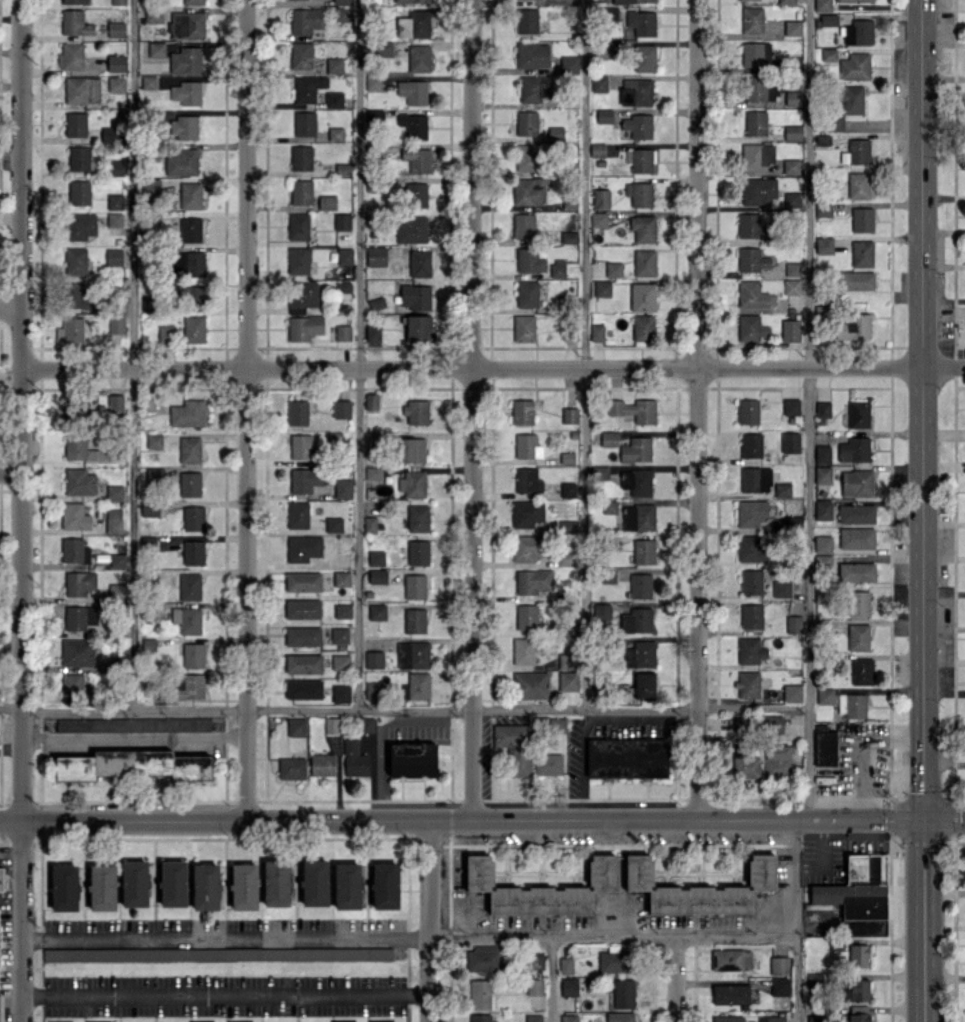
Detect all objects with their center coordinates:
building: (750, 0)
building: (856, 0)
building: (74, 1)
building: (193, 1)
building: (411, 1)
building: (631, 1)
building: (787, 1)
building: (118, 2)
building: (341, 2)
building: (822, 5)
building: (342, 14)
building: (752, 19)
building: (306, 20)
building: (526, 20)
building: (828, 20)
building: (74, 22)
building: (642, 22)
building: (186, 24)
building: (415, 24)
building: (792, 27)
building: (115, 29)
building: (858, 32)
building: (385, 48)
building: (151, 49)
building: (606, 49)
building: (755, 54)
building: (301, 55)
building: (532, 55)
building: (70, 56)
building: (645, 57)
building: (419, 58)
building: (185, 60)
building: (116, 62)
building: (569, 63)
building: (334, 65)
building: (854, 66)
building: (147, 82)
building: (372, 83)
building: (599, 83)
building: (116, 84)
building: (308, 88)
building: (534, 88)
building: (82, 89)
building: (759, 89)
building: (412, 91)
building: (636, 91)
building: (187, 93)
building: (793, 98)
building: (333, 99)
building: (847, 106)
building: (603, 116)
building: (755, 122)
building: (304, 123)
building: (527, 123)
building: (75, 124)
building: (413, 125)
building: (638, 126)
building: (183, 127)
building: (793, 132)
building: (555, 133)
building: (109, 134)
building: (335, 134)
building: (597, 150)
building: (858, 151)
building: (757, 155)
building: (301, 157)
building: (527, 157)
building: (78, 158)
building: (417, 159)
building: (640, 159)
building: (181, 161)
building: (791, 166)
building: (114, 168)
building: (859, 185)
building: (758, 190)
building: (301, 191)
building: (529, 191)
building: (78, 192)
building: (639, 194)
building: (190, 195)
building: (415, 195)
building: (600, 198)
building: (791, 199)
building: (114, 201)
building: (327, 202)
building: (823, 209)
building: (114, 219)
building: (598, 219)
building: (862, 219)
building: (342, 222)
building: (524, 225)
building: (79, 226)
building: (298, 226)
building: (752, 226)
building: (643, 228)
building: (190, 229)
building: (411, 229)
building: (824, 245)
building: (862, 253)
building: (114, 256)
building: (376, 256)
building: (752, 259)
building: (298, 260)
building: (530, 260)
building: (75, 261)
building: (345, 261)
building: (645, 262)
building: (187, 263)
building: (419, 263)
building: (557, 268)
building: (613, 268)
building: (792, 269)
building: (856, 281)
building: (343, 287)
building: (791, 287)
building: (602, 288)
building: (527, 293)
building: (302, 294)
building: (753, 295)
building: (77, 297)
building: (195, 297)
building: (419, 297)
building: (642, 297)
building: (147, 303)
road: (9, 306)
building: (116, 324)
building: (304, 327)
building: (854, 327)
building: (193, 328)
building: (418, 328)
building: (523, 328)
building: (643, 329)
building: (752, 329)
building: (70, 330)
building: (790, 330)
building: (343, 332)
building: (596, 332)
building: (164, 333)
building: (373, 333)
road: (357, 353)
road: (130, 354)
road: (582, 354)
road: (491, 369)
building: (371, 401)
building: (149, 402)
building: (116, 403)
building: (791, 406)
building: (341, 408)
building: (823, 408)
building: (634, 410)
road: (700, 410)
building: (416, 411)
road: (477, 411)
building: (522, 411)
building: (748, 411)
road: (806, 411)
road: (248, 412)
building: (297, 412)
building: (78, 413)
building: (188, 413)
building: (859, 414)
building: (569, 415)
building: (609, 438)
building: (154, 440)
building: (372, 440)
building: (790, 442)
building: (751, 445)
building: (301, 446)
building: (527, 446)
building: (83, 449)
building: (190, 449)
building: (412, 449)
building: (636, 449)
building: (854, 449)
building: (823, 454)
road: (9, 471)
building: (600, 472)
building: (373, 473)
building: (822, 475)
building: (305, 479)
building: (755, 479)
building: (527, 480)
building: (79, 481)
building: (637, 482)
building: (857, 482)
building: (189, 484)
building: (412, 484)
building: (342, 488)
building: (568, 489)
building: (783, 490)
building: (115, 492)
building: (609, 506)
building: (149, 508)
building: (823, 509)
road: (924, 510)
road: (19, 511)
building: (526, 513)
building: (751, 513)
building: (856, 513)
building: (297, 514)
building: (74, 516)
building: (638, 517)
building: (193, 518)
building: (418, 518)
building: (113, 520)
building: (333, 524)
building: (370, 524)
building: (567, 525)
building: (857, 537)
building: (823, 544)
building: (526, 547)
building: (303, 548)
building: (749, 548)
building: (74, 550)
building: (643, 551)
building: (193, 552)
building: (418, 552)
building: (376, 558)
building: (117, 560)
building: (857, 571)
building: (377, 576)
building: (608, 576)
building: (341, 578)
building: (302, 581)
building: (533, 581)
building: (751, 582)
building: (79, 583)
building: (640, 585)
building: (190, 586)
building: (414, 586)
building: (782, 588)
building: (115, 591)
building: (859, 603)
building: (302, 608)
building: (342, 611)
building: (377, 611)
building: (526, 616)
building: (751, 616)
building: (79, 617)
building: (187, 619)
building: (414, 620)
building: (636, 620)
building: (793, 624)
building: (339, 635)
building: (303, 636)
building: (858, 637)
building: (148, 644)
building: (523, 650)
building: (750, 650)
building: (77, 652)
building: (640, 654)
building: (193, 655)
building: (412, 655)
building: (374, 659)
building: (567, 661)
building: (340, 662)
building: (303, 663)
building: (862, 671)
building: (568, 681)
building: (530, 684)
building: (747, 684)
building: (644, 685)
building: (74, 686)
building: (189, 686)
building: (416, 686)
building: (303, 688)
building: (373, 690)
building: (341, 693)
building: (792, 693)
building: (825, 695)
building: (851, 705)
road: (402, 708)
building: (133, 723)
building: (367, 724)
building: (742, 724)
building: (773, 724)
building: (331, 725)
building: (296, 726)
road: (137, 737)
road: (855, 741)
building: (824, 746)
building: (515, 747)
building: (627, 758)
building: (354, 759)
building: (412, 759)
building: (776, 761)
building: (745, 762)
building: (549, 763)
building: (322, 764)
building: (133, 765)
road: (575, 766)
building: (291, 768)
road: (890, 775)
traffic signals: (926, 821)
road: (482, 823)
building: (1, 879)
building: (314, 882)
building: (134, 883)
building: (173, 883)
building: (276, 883)
building: (385, 885)
building: (205, 886)
building: (243, 886)
building: (347, 886)
building: (64, 887)
building: (102, 887)
building: (700, 888)
building: (540, 889)
building: (859, 895)
road: (431, 922)
road: (794, 922)
road: (406, 937)
building: (217, 954)
building: (859, 956)
building: (483, 958)
building: (731, 959)
building: (614, 960)
building: (537, 961)
building: (565, 965)
building: (779, 965)
road: (675, 979)
building: (815, 979)
road: (545, 980)
building: (534, 986)
building: (779, 986)
building: (569, 987)
building: (859, 989)
building: (623, 993)
building: (730, 993)
road: (224, 994)
building: (480, 994)
building: (859, 1013)
building: (620, 1016)
building: (480, 1018)
building: (534, 1018)
building: (569, 1018)
building: (728, 1018)
building: (772, 1018)
building: (815, 1018)

